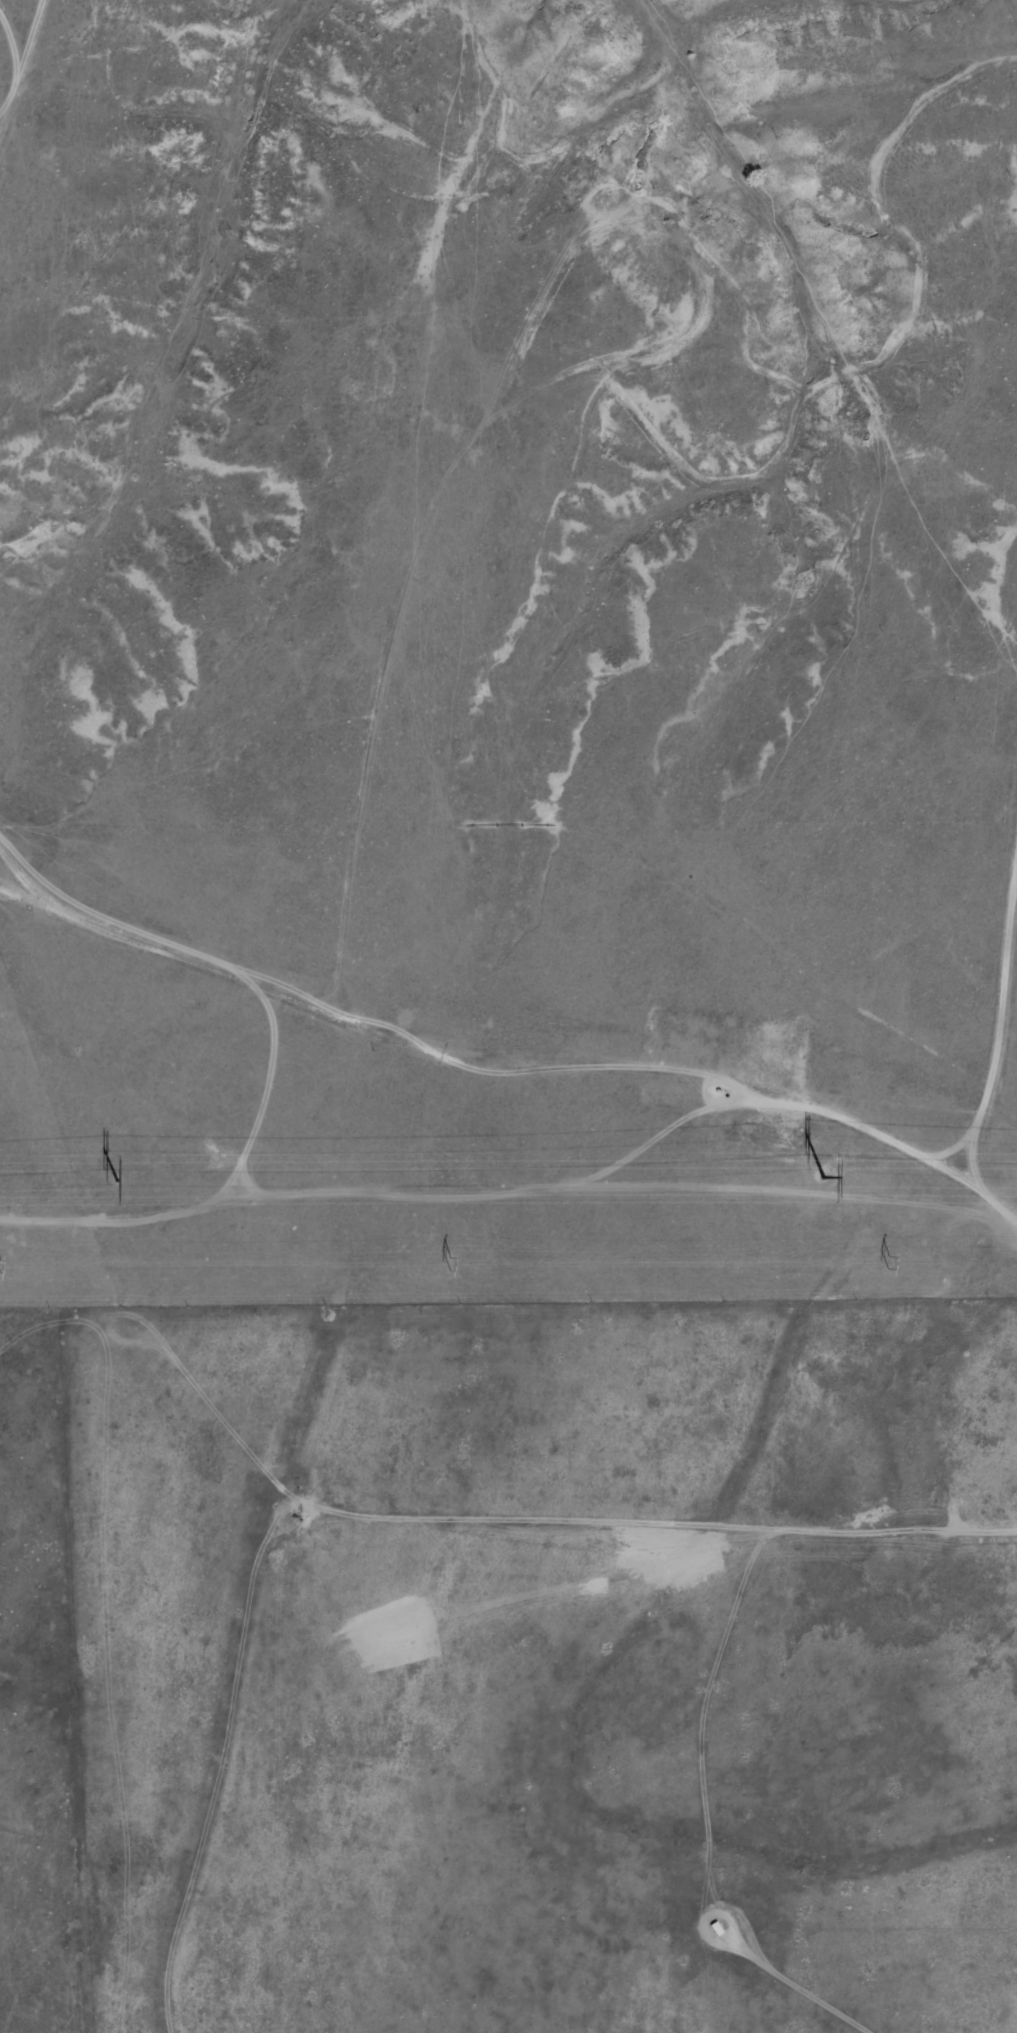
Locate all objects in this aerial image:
road: (29, 868)
road: (455, 1066)
power tower: (823, 1176)
power tower: (116, 1179)
power tower: (889, 1262)
power tower: (450, 1263)
power tower: (0, 1266)

